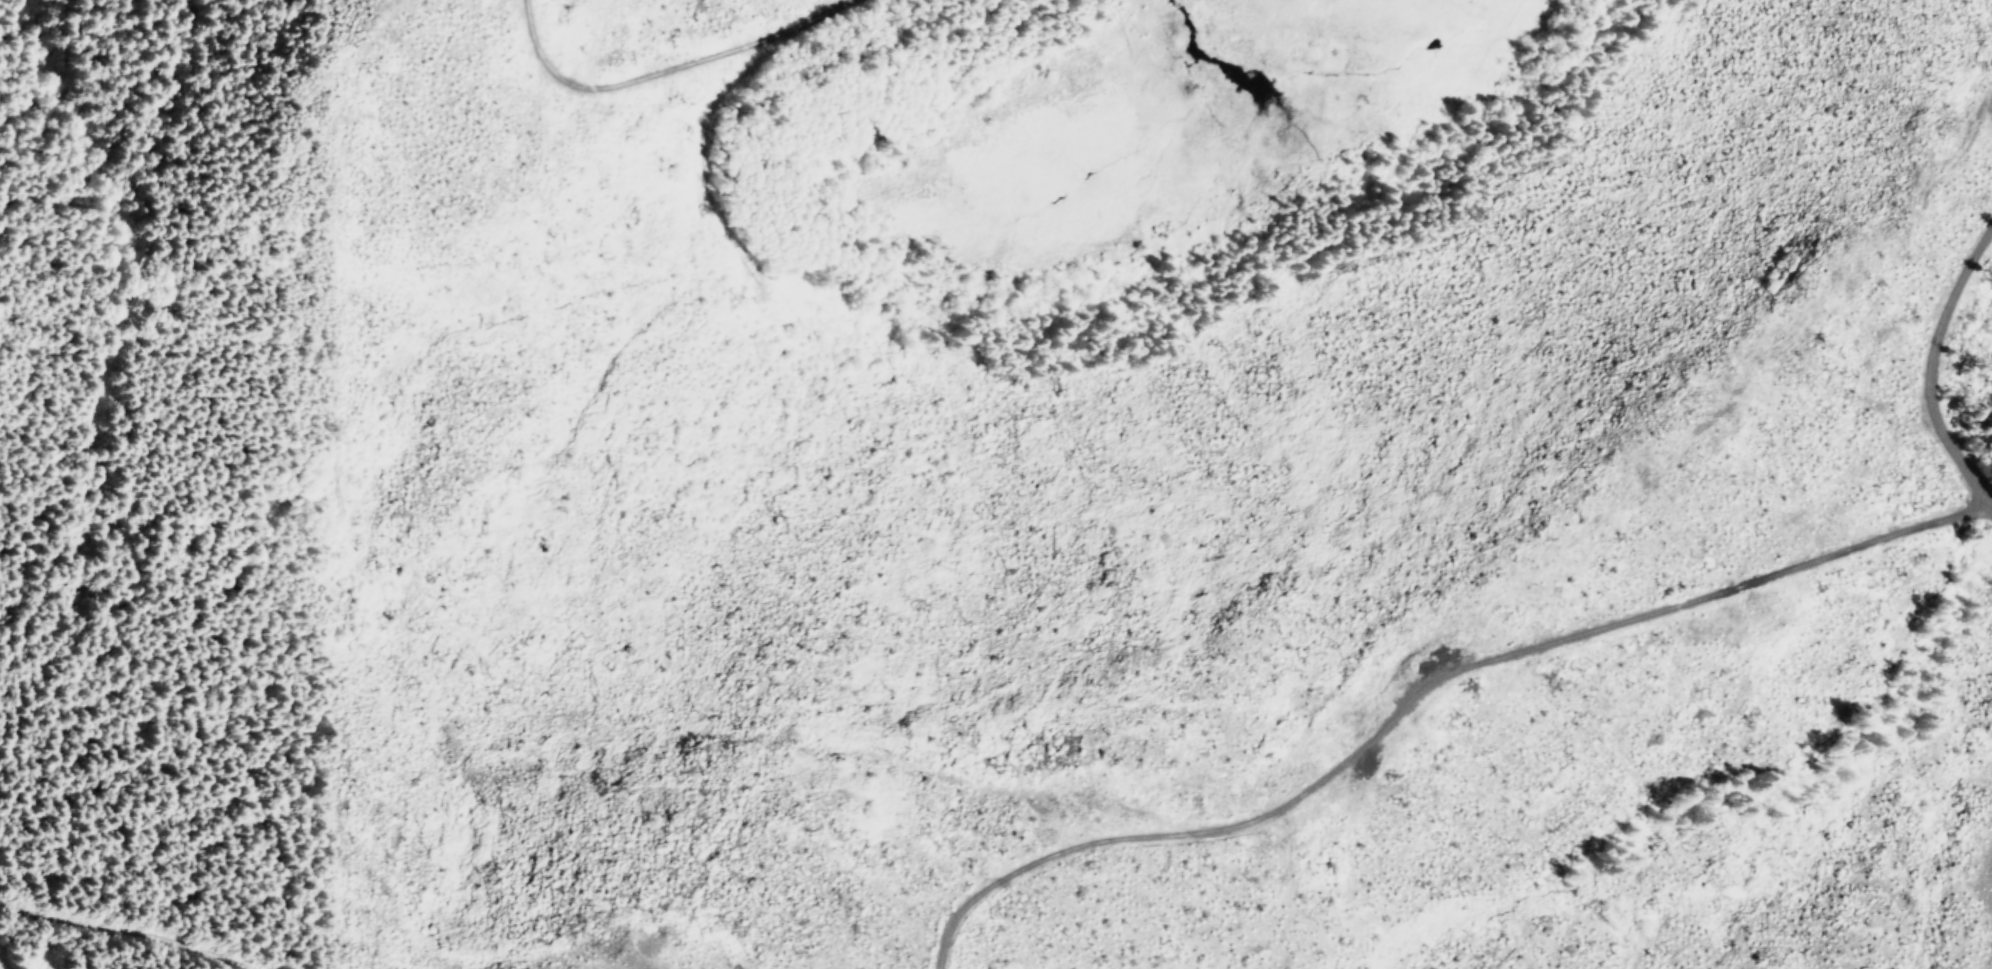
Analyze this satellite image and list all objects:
road: (719, 115)
road: (1932, 367)
road: (1470, 688)
road: (155, 901)

